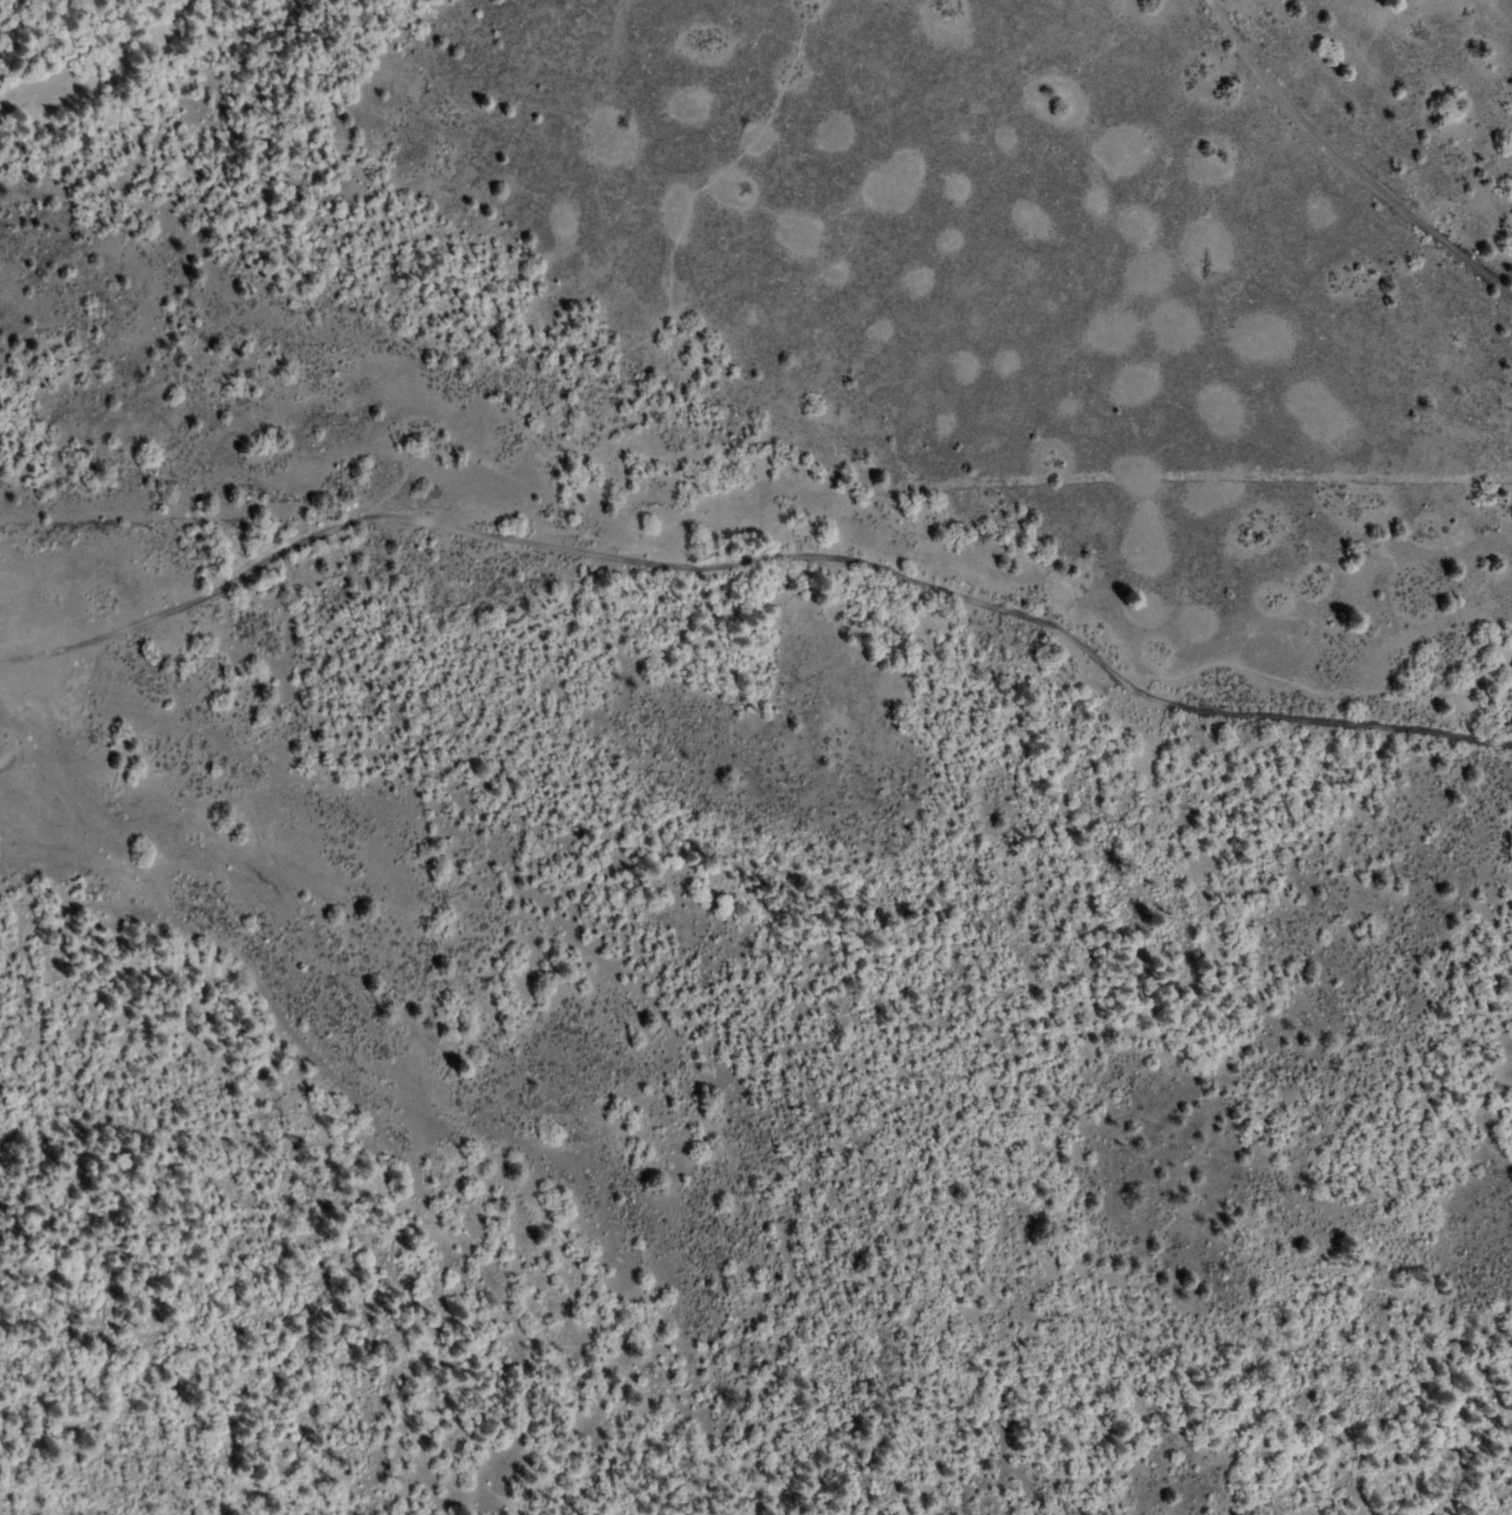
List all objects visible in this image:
road: (1345, 156)

